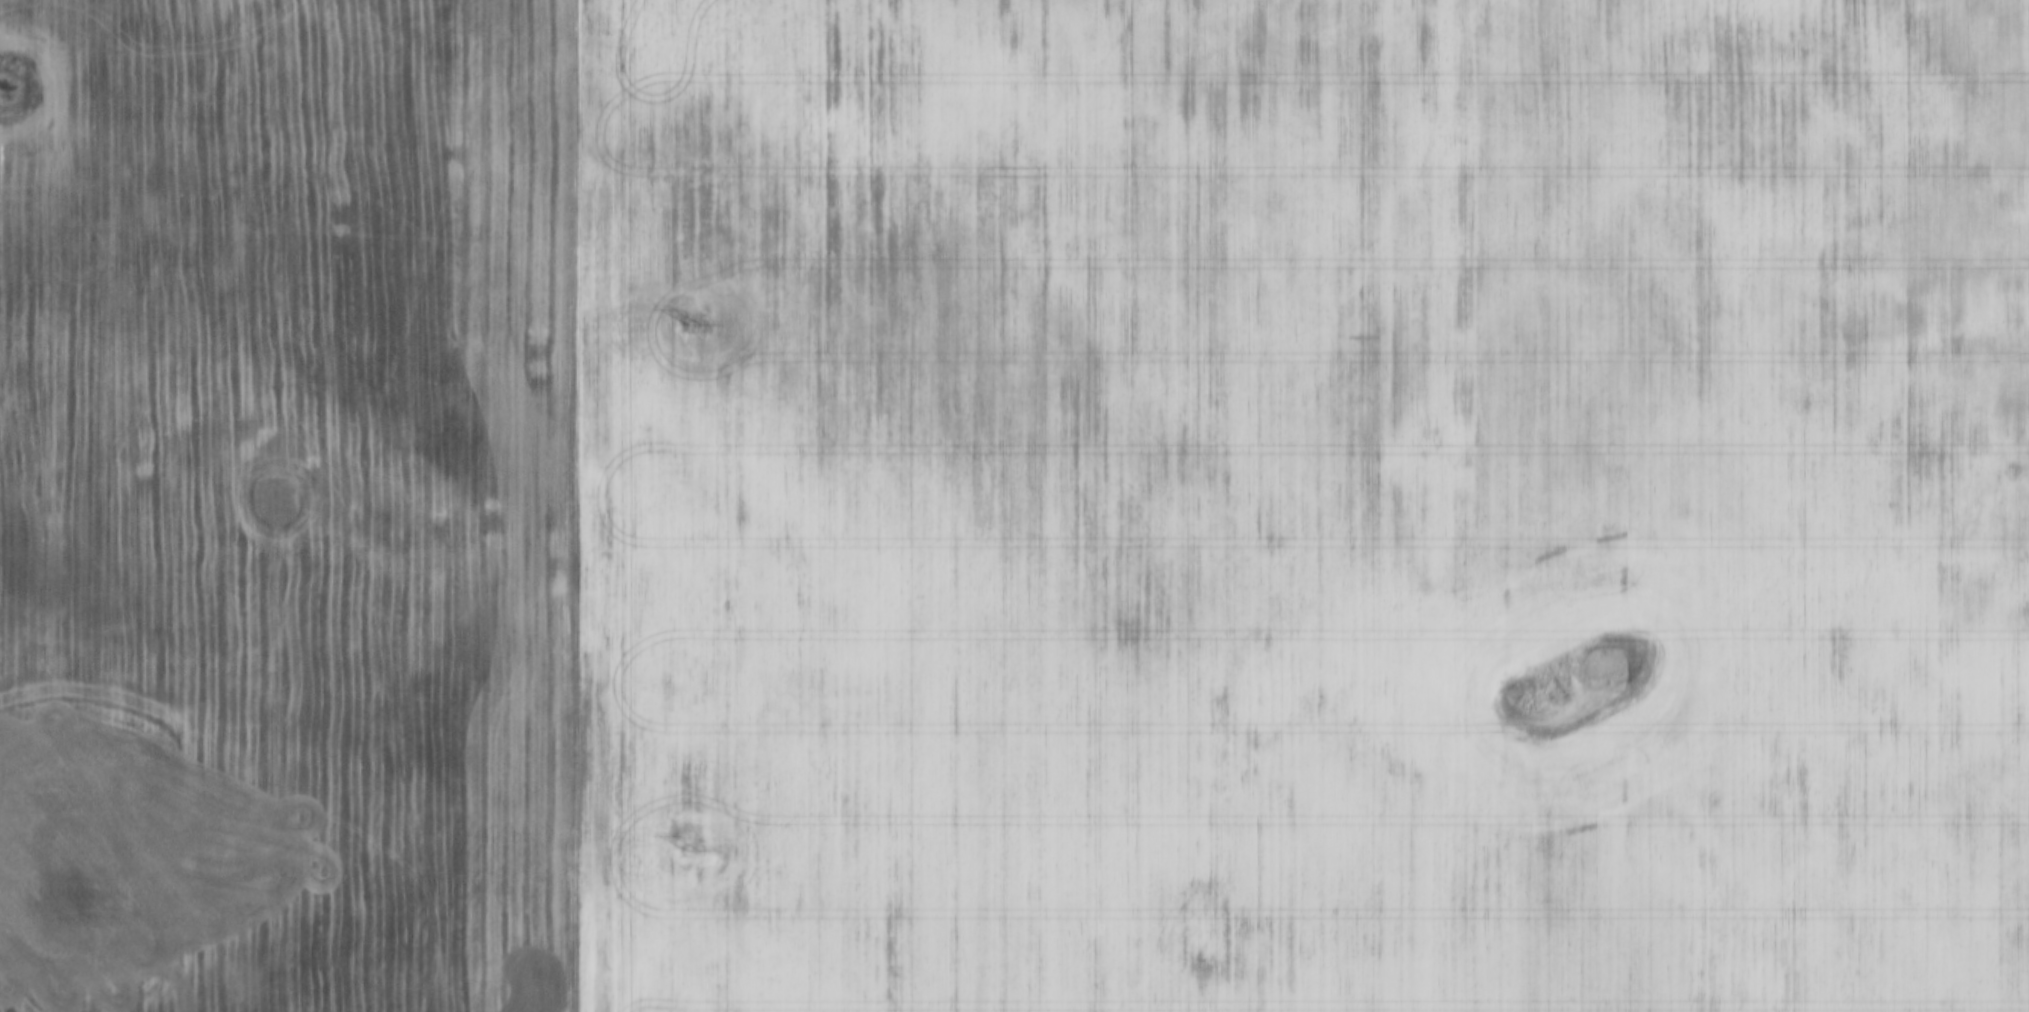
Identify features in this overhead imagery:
power tower: (692, 325)
power tower: (690, 852)

